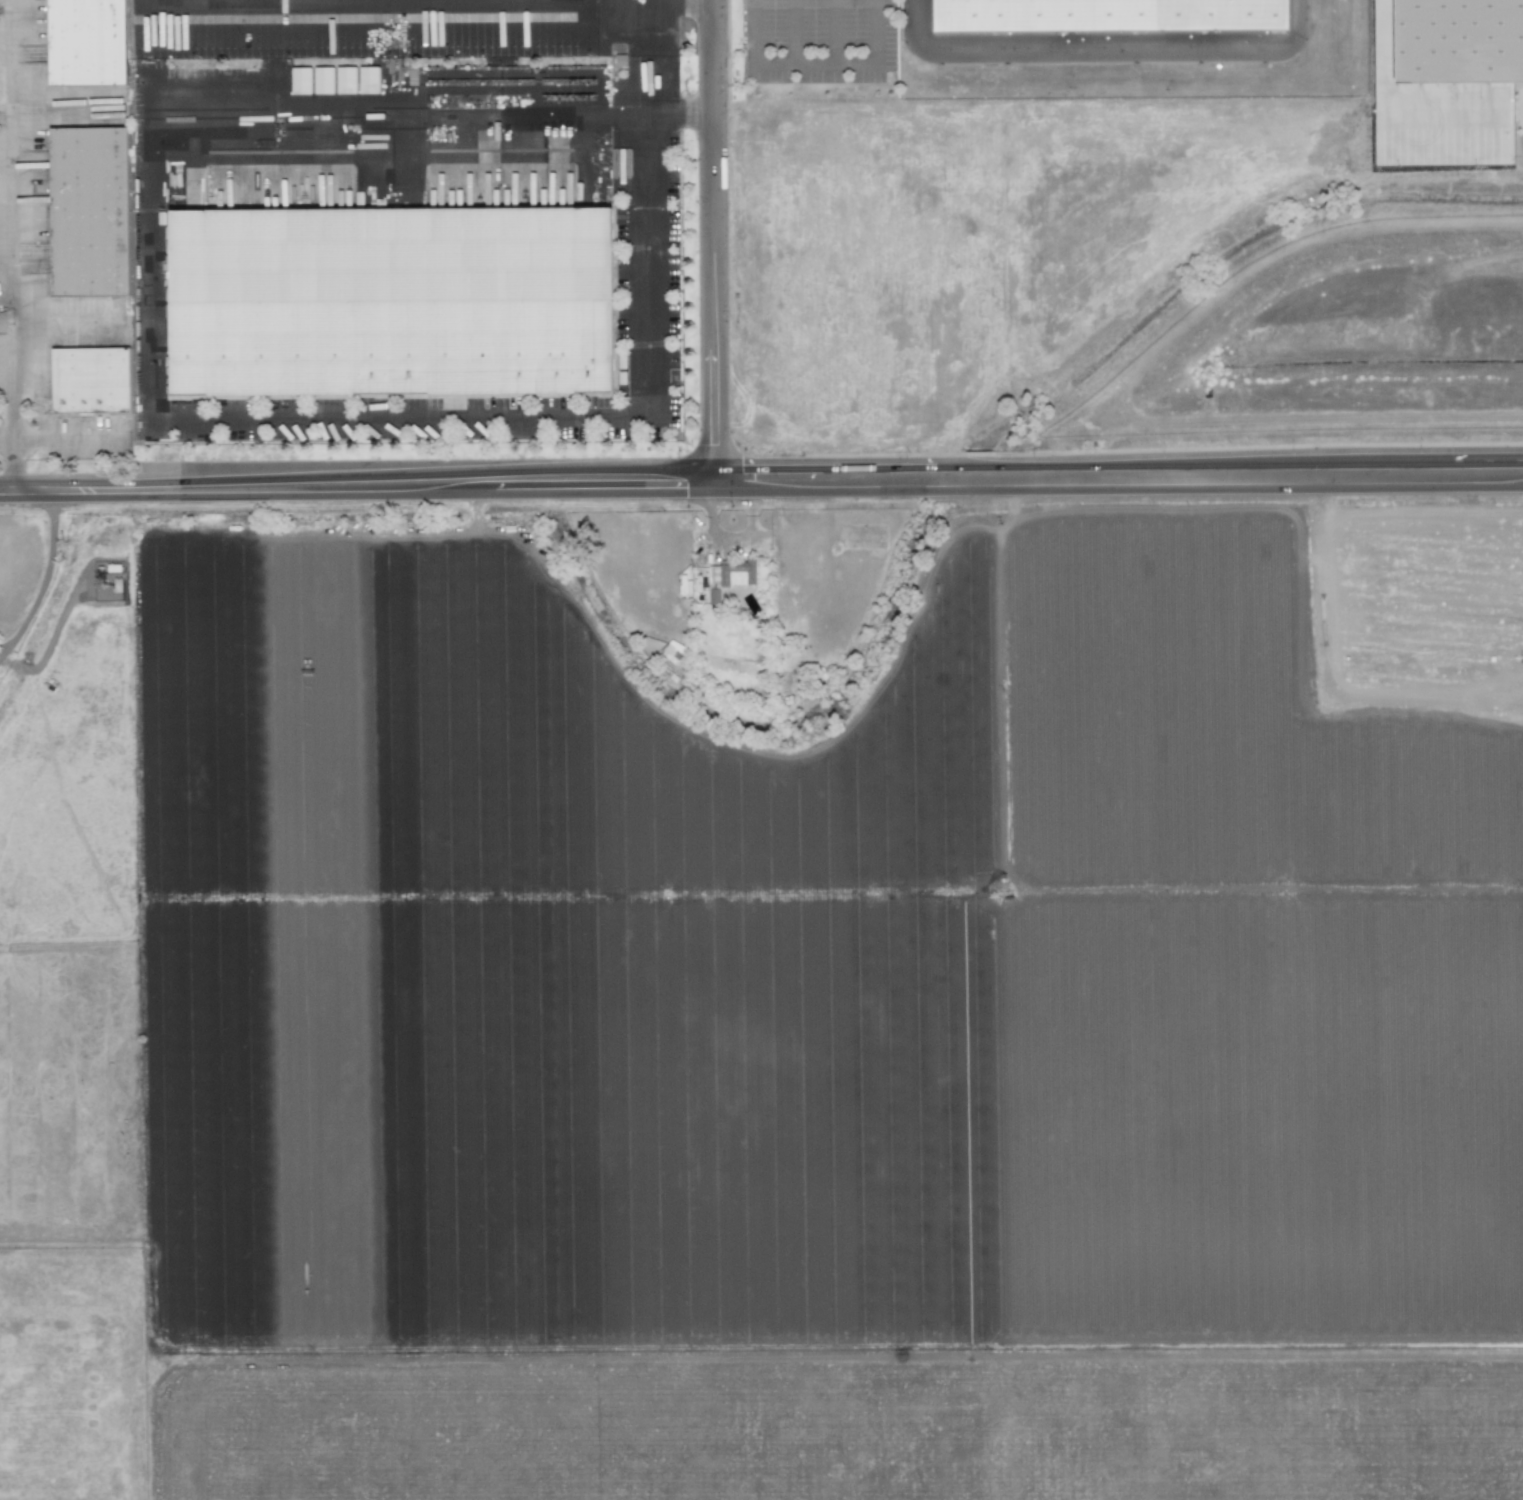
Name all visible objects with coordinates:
road: (677, 0)
building: (1108, 16)
road: (914, 22)
road: (750, 31)
road: (833, 31)
road: (2, 40)
road: (1124, 41)
building: (87, 44)
road: (791, 51)
road: (865, 62)
building: (1462, 74)
building: (346, 80)
building: (368, 80)
building: (300, 81)
building: (323, 81)
road: (641, 94)
road: (233, 101)
building: (88, 216)
road: (7, 219)
road: (4, 243)
road: (714, 245)
building: (384, 297)
building: (90, 385)
road: (542, 413)
road: (11, 460)
road: (1233, 484)
road: (829, 490)
road: (383, 492)
road: (25, 493)
building: (732, 577)
road: (43, 579)
building: (671, 651)
railway: (634, 750)

